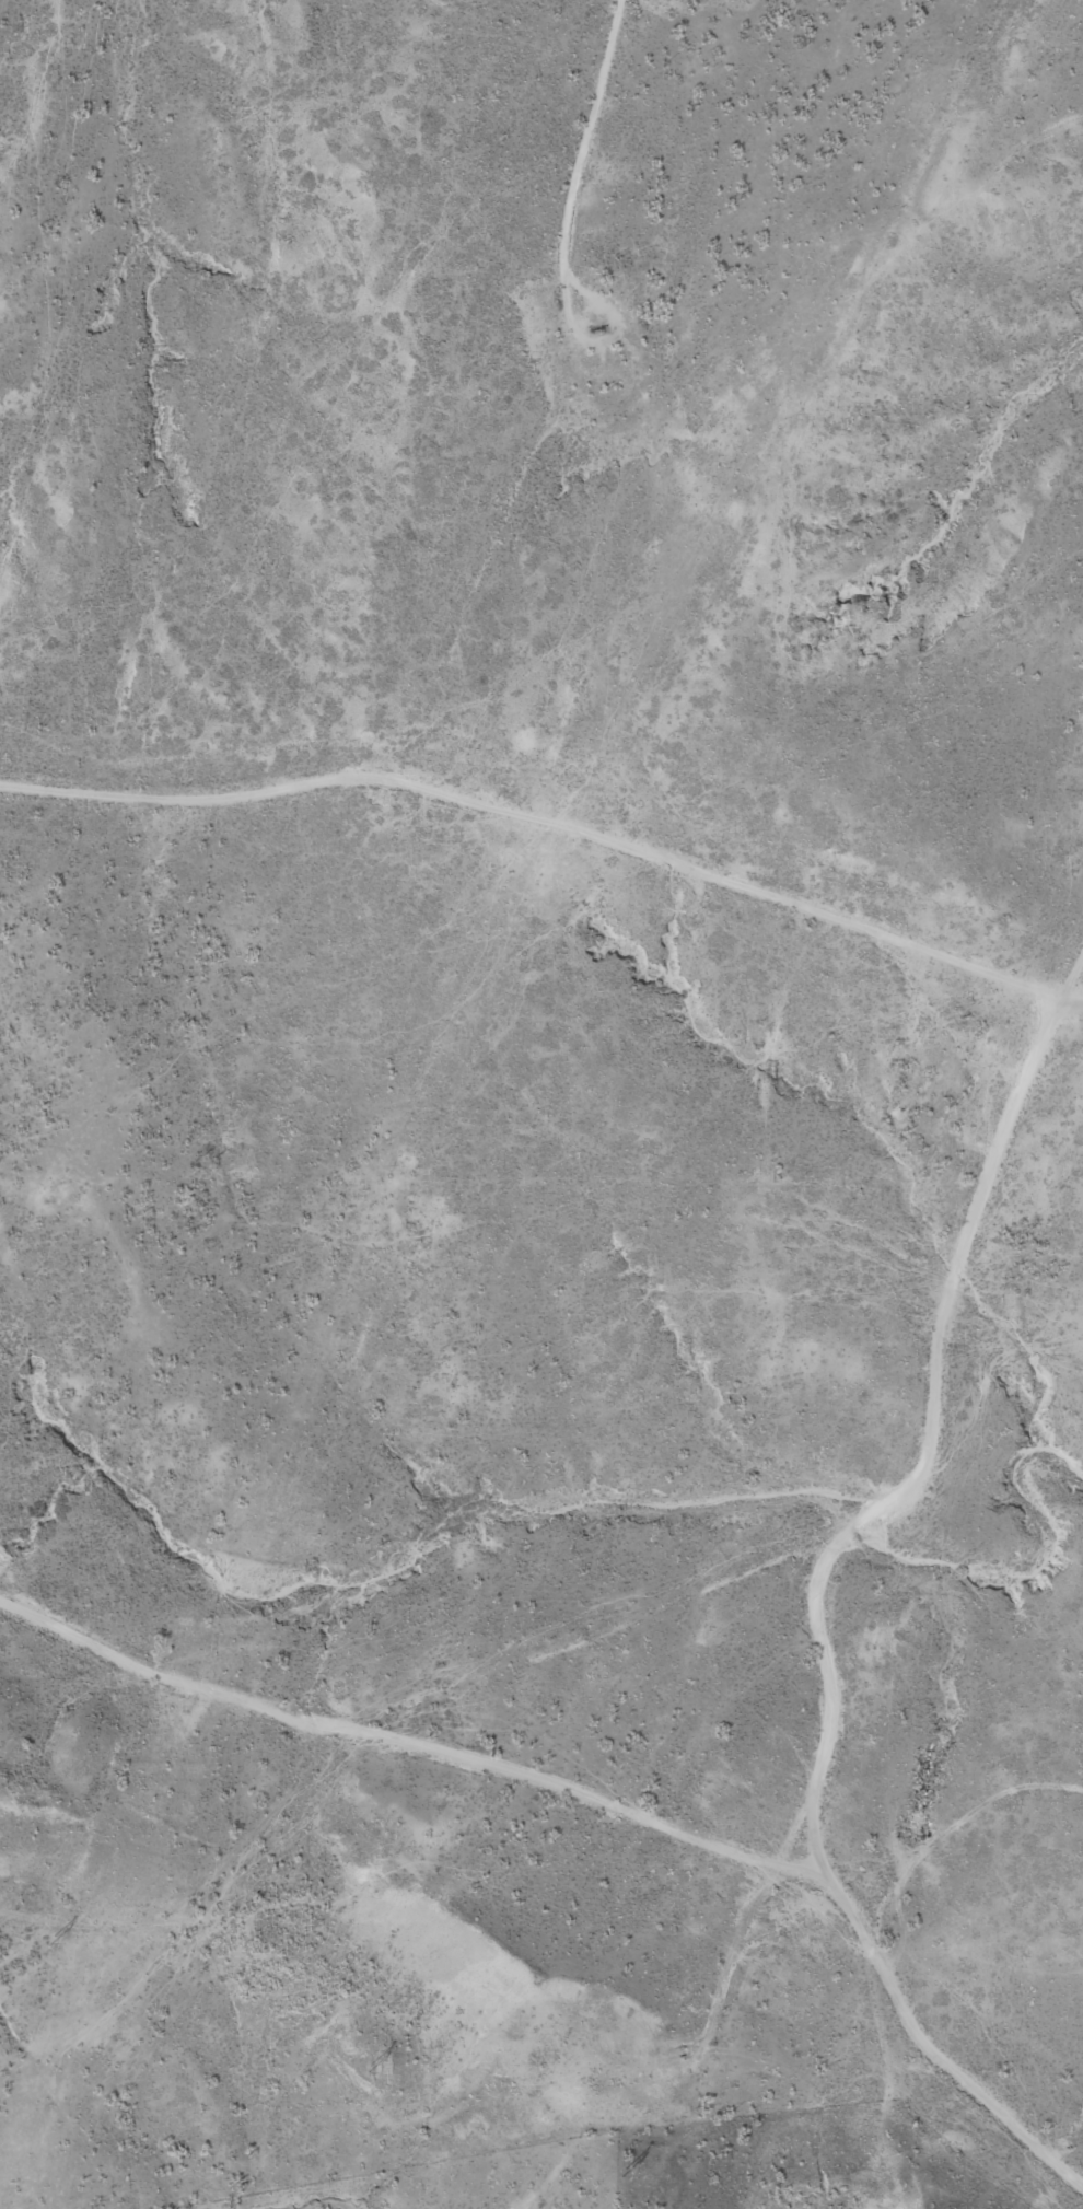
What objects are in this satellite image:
power tower: (54, 1939)
power tower: (368, 2065)
power tower: (622, 2172)

